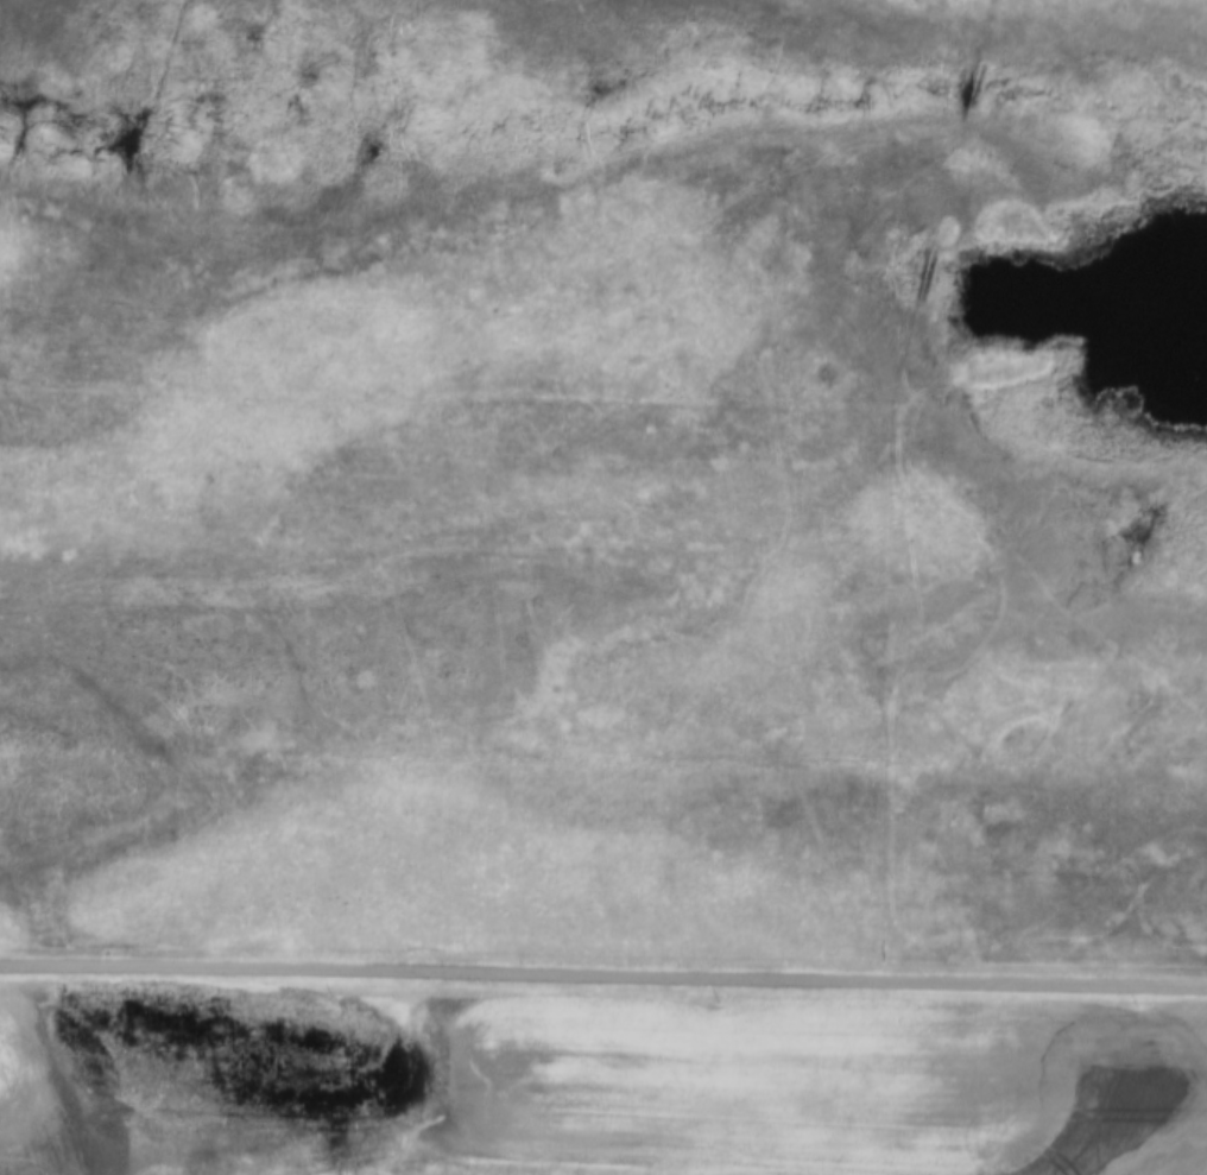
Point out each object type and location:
road: (602, 978)

